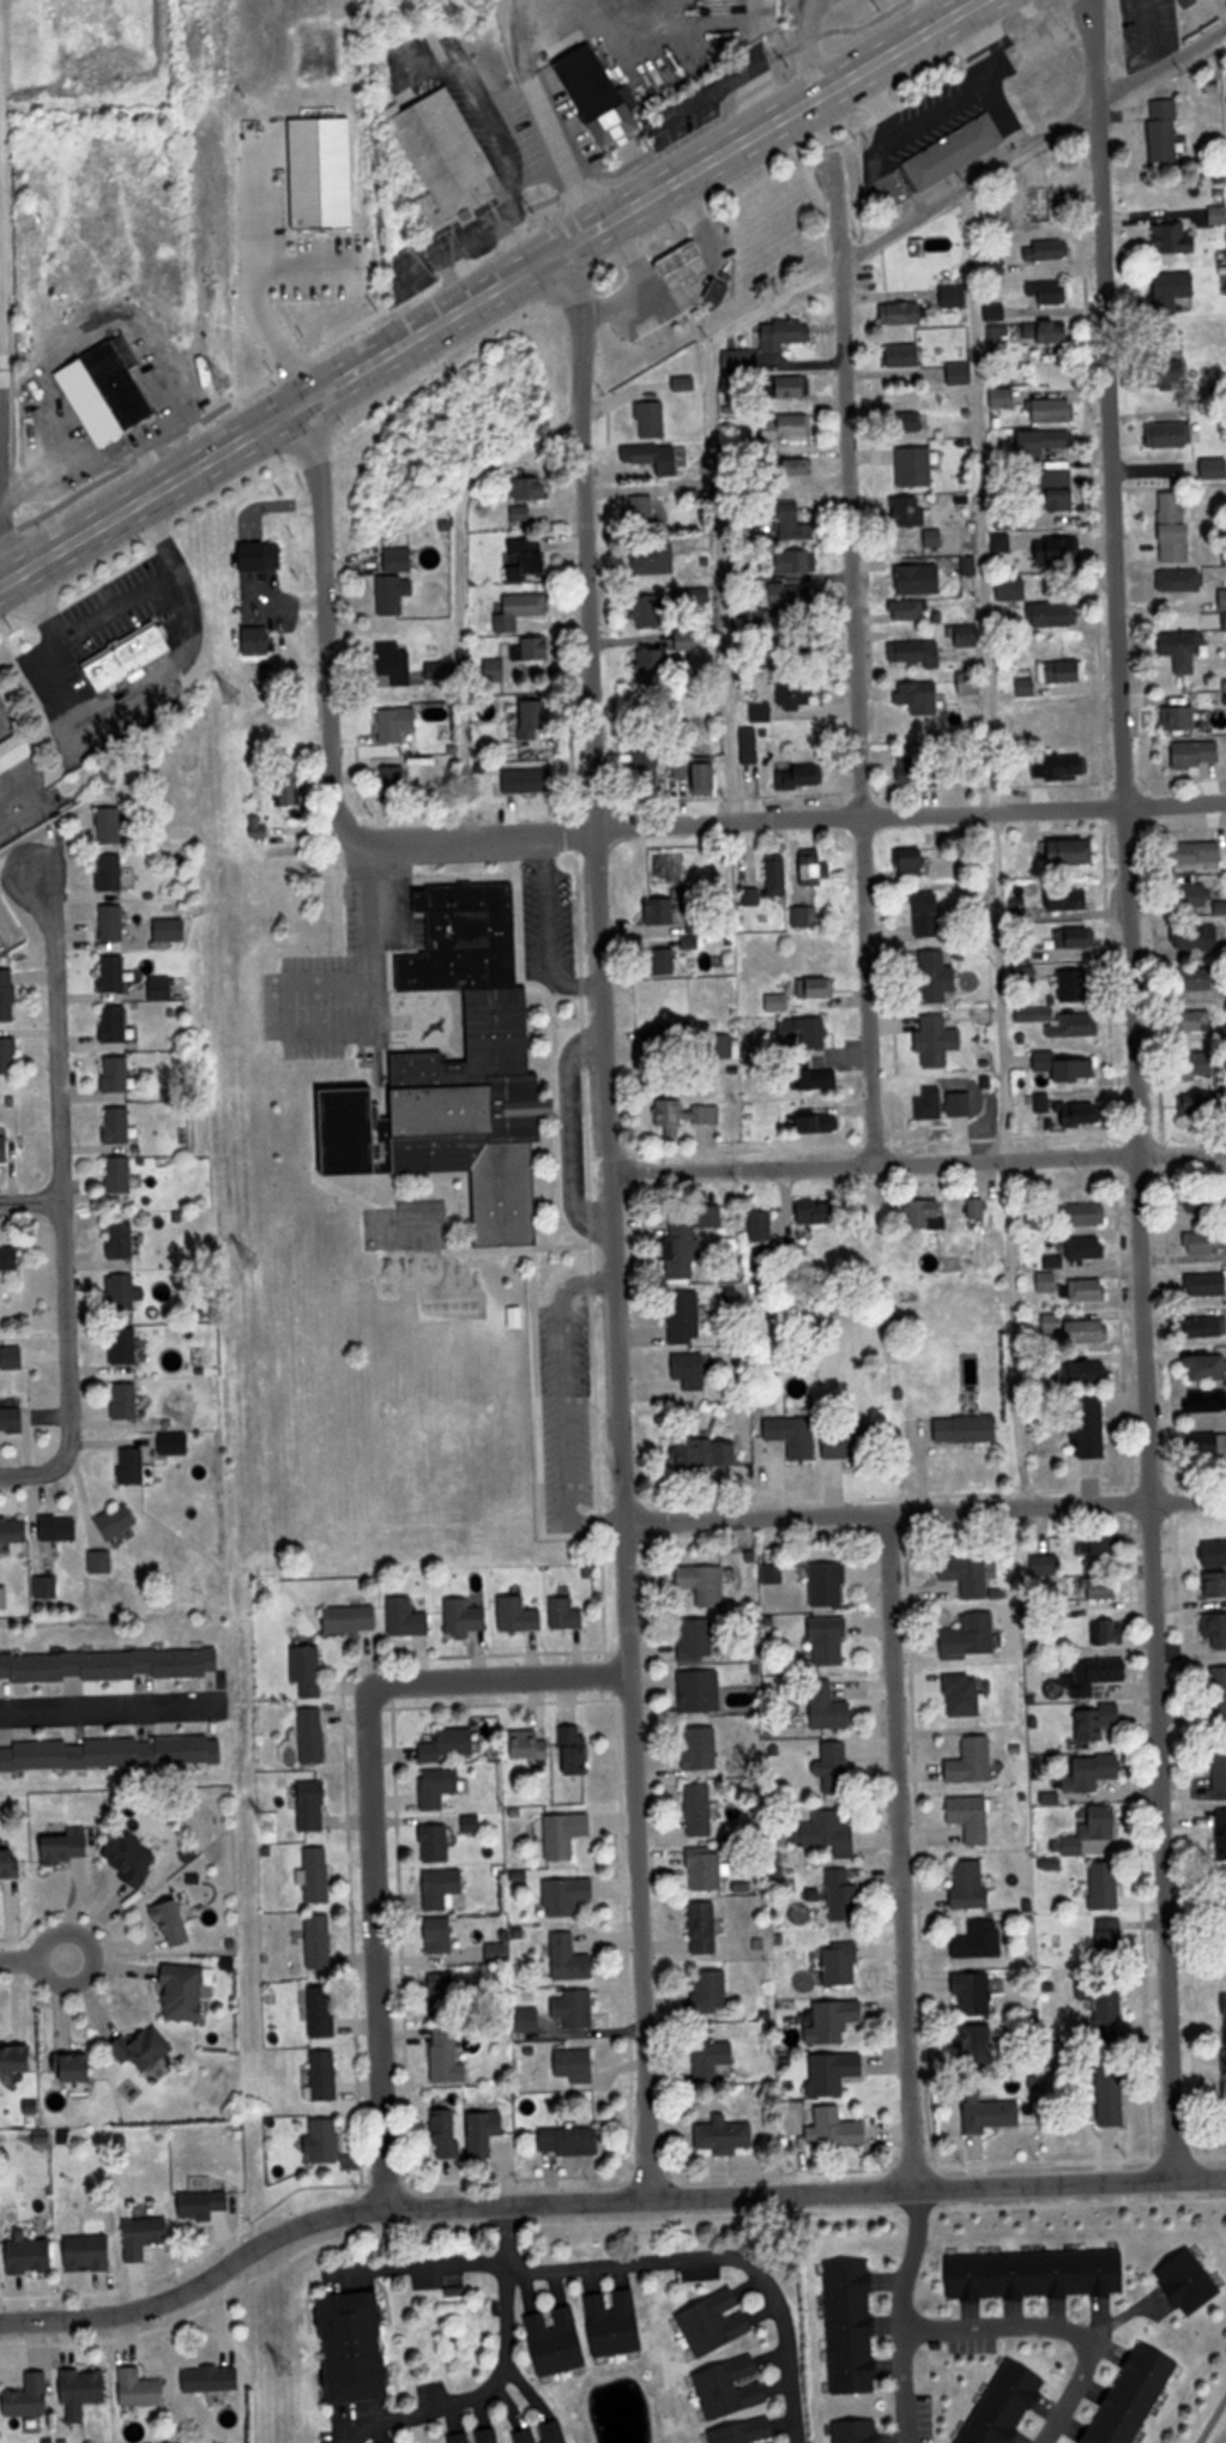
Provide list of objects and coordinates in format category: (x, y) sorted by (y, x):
building: (1189, 4)
road: (988, 31)
road: (1047, 32)
road: (1147, 38)
road: (1014, 56)
building: (600, 97)
road: (500, 108)
road: (1005, 114)
road: (907, 127)
building: (1164, 132)
road: (1033, 146)
building: (955, 151)
building: (446, 158)
building: (249, 159)
building: (324, 173)
building: (1216, 215)
road: (705, 222)
building: (1172, 240)
building: (1047, 249)
road: (459, 257)
road: (634, 257)
building: (688, 263)
building: (995, 264)
road: (695, 273)
road: (252, 285)
road: (1, 288)
building: (1174, 288)
building: (717, 290)
road: (485, 291)
building: (1047, 292)
building: (955, 296)
road: (636, 306)
building: (906, 313)
building: (1049, 332)
building: (785, 334)
building: (905, 356)
building: (1171, 378)
power tower: (229, 386)
building: (796, 388)
building: (109, 391)
building: (1003, 398)
building: (1053, 411)
building: (653, 421)
building: (900, 423)
building: (789, 428)
building: (1176, 435)
building: (1044, 442)
building: (650, 458)
building: (913, 468)
road: (2, 469)
building: (1213, 469)
building: (796, 470)
building: (1062, 488)
building: (530, 490)
road: (717, 503)
building: (642, 511)
building: (521, 515)
building: (904, 523)
building: (795, 525)
building: (1174, 527)
building: (934, 539)
building: (265, 556)
building: (656, 559)
building: (529, 560)
building: (798, 562)
building: (920, 579)
building: (398, 580)
building: (1180, 580)
building: (1011, 590)
road: (459, 593)
building: (789, 596)
building: (689, 597)
building: (1224, 599)
road: (121, 603)
building: (650, 608)
road: (315, 609)
building: (521, 610)
building: (910, 610)
building: (1055, 615)
building: (968, 635)
building: (258, 641)
building: (687, 641)
building: (792, 644)
building: (538, 650)
building: (1185, 650)
building: (917, 655)
building: (132, 656)
building: (650, 660)
road: (857, 663)
building: (395, 664)
building: (1050, 675)
building: (972, 683)
building: (799, 694)
power tower: (237, 698)
building: (919, 698)
building: (762, 713)
building: (1180, 718)
building: (535, 719)
building: (399, 724)
building: (750, 746)
building: (17, 753)
building: (1197, 754)
building: (1062, 766)
building: (925, 768)
building: (647, 770)
building: (700, 773)
building: (802, 776)
building: (437, 777)
building: (530, 780)
building: (288, 796)
road: (777, 818)
building: (113, 824)
road: (994, 847)
building: (1068, 851)
building: (1201, 851)
building: (914, 859)
building: (815, 868)
building: (113, 871)
building: (778, 873)
building: (1201, 898)
building: (659, 909)
building: (929, 913)
building: (805, 916)
building: (114, 922)
building: (706, 923)
building: (174, 928)
building: (1197, 935)
building: (1076, 937)
road: (542, 939)
building: (115, 971)
building: (937, 975)
building: (1026, 975)
building: (1201, 979)
building: (1075, 984)
building: (163, 987)
building: (823, 987)
building: (10, 994)
building: (1063, 1021)
building: (1202, 1021)
building: (117, 1023)
building: (817, 1031)
building: (670, 1033)
road: (357, 1038)
building: (940, 1039)
building: (10, 1051)
building: (1202, 1061)
building: (1065, 1069)
building: (460, 1072)
building: (119, 1073)
building: (821, 1078)
road: (1130, 1088)
building: (931, 1102)
building: (1197, 1103)
building: (706, 1112)
building: (1079, 1114)
building: (669, 1115)
building: (821, 1120)
building: (121, 1124)
road: (572, 1134)
building: (6, 1147)
road: (917, 1159)
building: (122, 1174)
road: (50, 1198)
road: (25, 1199)
building: (1207, 1205)
building: (979, 1208)
building: (820, 1211)
building: (930, 1213)
building: (1092, 1214)
building: (713, 1216)
building: (1032, 1219)
road: (611, 1220)
building: (761, 1224)
building: (125, 1239)
building: (1204, 1243)
building: (682, 1247)
building: (1087, 1248)
building: (11, 1257)
building: (1052, 1261)
power tower: (249, 1265)
building: (1047, 1283)
building: (1203, 1285)
building: (1089, 1289)
building: (126, 1293)
building: (686, 1317)
building: (1203, 1327)
building: (1076, 1328)
building: (126, 1345)
building: (1207, 1363)
building: (690, 1370)
building: (1092, 1373)
building: (128, 1400)
building: (1207, 1400)
road: (564, 1407)
building: (13, 1419)
building: (795, 1422)
building: (1091, 1426)
building: (967, 1429)
building: (177, 1443)
building: (854, 1443)
building: (1212, 1443)
building: (712, 1450)
building: (133, 1465)
road: (926, 1510)
building: (120, 1521)
building: (61, 1527)
building: (14, 1531)
building: (1109, 1544)
building: (1215, 1551)
building: (102, 1562)
building: (1043, 1566)
building: (967, 1574)
building: (829, 1585)
building: (1216, 1585)
building: (705, 1586)
building: (48, 1587)
building: (1104, 1587)
building: (568, 1613)
building: (412, 1615)
building: (467, 1615)
building: (521, 1615)
building: (354, 1618)
building: (1106, 1630)
building: (1216, 1630)
building: (696, 1640)
building: (831, 1640)
building: (970, 1640)
building: (113, 1667)
building: (309, 1669)
building: (1100, 1673)
road: (500, 1677)
building: (701, 1690)
building: (964, 1695)
building: (1220, 1695)
road: (115, 1700)
building: (832, 1708)
building: (1099, 1723)
building: (314, 1735)
building: (451, 1744)
building: (532, 1744)
building: (701, 1747)
building: (579, 1749)
building: (113, 1751)
building: (973, 1761)
building: (838, 1767)
building: (1220, 1767)
building: (1095, 1772)
building: (442, 1787)
building: (313, 1805)
building: (701, 1809)
building: (972, 1816)
building: (473, 1823)
power tower: (270, 1824)
building: (826, 1830)
building: (1097, 1832)
building: (567, 1834)
building: (437, 1842)
building: (68, 1845)
road: (895, 1851)
building: (133, 1856)
building: (12, 1862)
building: (707, 1868)
building: (320, 1874)
building: (972, 1883)
building: (1106, 1884)
building: (443, 1887)
building: (568, 1894)
building: (846, 1894)
building: (175, 1923)
building: (706, 1928)
building: (442, 1934)
building: (980, 1938)
building: (1111, 1938)
building: (321, 1941)
road: (376, 1949)
road: (93, 1954)
building: (572, 1959)
road: (19, 1960)
building: (844, 1965)
building: (1087, 1989)
building: (711, 1990)
building: (979, 1991)
building: (187, 1992)
building: (452, 1998)
building: (1112, 2005)
building: (576, 2008)
building: (325, 2010)
building: (837, 2021)
building: (979, 2045)
building: (149, 2047)
building: (447, 2055)
building: (18, 2058)
building: (717, 2062)
building: (578, 2064)
building: (80, 2065)
building: (837, 2073)
building: (326, 2075)
building: (992, 2113)
building: (838, 2129)
building: (448, 2130)
building: (487, 2133)
building: (725, 2136)
building: (326, 2141)
building: (573, 2141)
road: (600, 2197)
building: (207, 2201)
road: (501, 2233)
building: (147, 2236)
building: (90, 2252)
road: (718, 2254)
building: (32, 2255)
road: (913, 2260)
road: (430, 2267)
building: (1039, 2275)
building: (617, 2322)
building: (717, 2322)
building: (852, 2328)
road: (1053, 2328)
building: (558, 2341)
building: (358, 2346)
power tower: (283, 2373)
building: (213, 2378)
road: (905, 2387)
building: (86, 2388)
building: (144, 2388)
building: (732, 2388)
road: (466, 2390)
building: (1135, 2395)
building: (31, 2396)
road: (1214, 2423)
building: (858, 2431)
building: (560, 2432)
building: (745, 2432)
building: (490, 2436)
building: (529, 2436)
building: (461, 2438)

